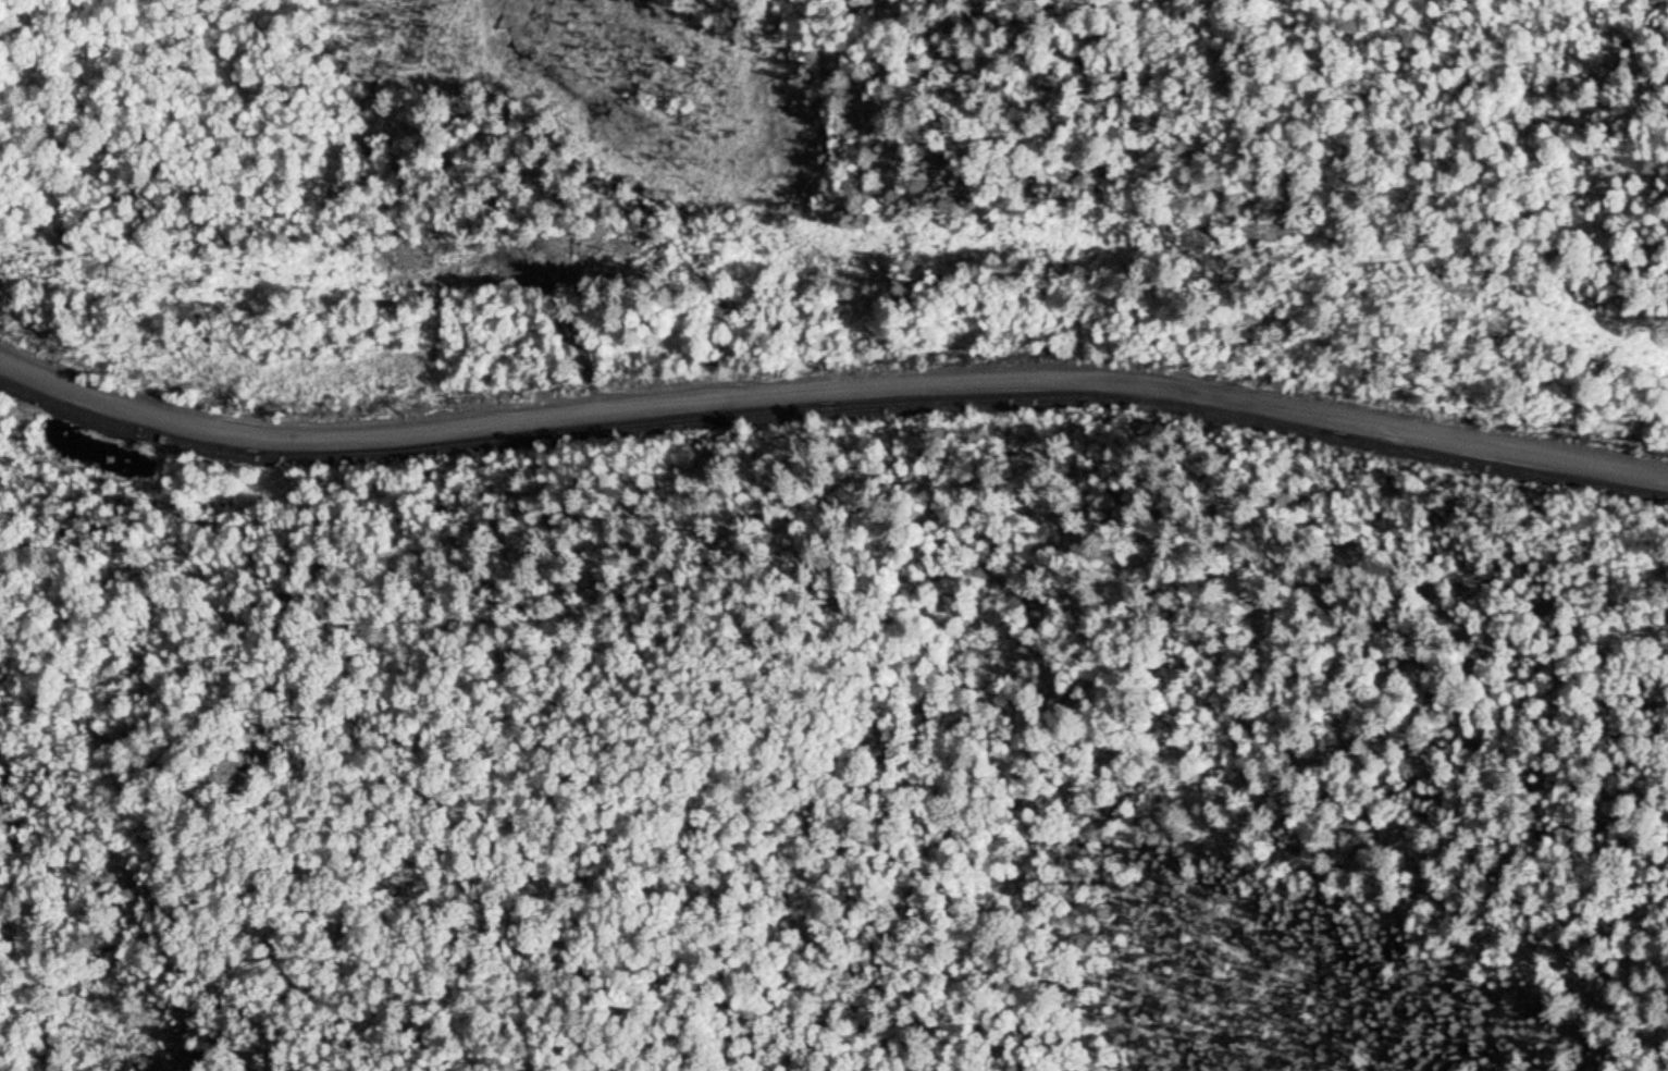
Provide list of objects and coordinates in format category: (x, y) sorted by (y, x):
road: (243, 460)

